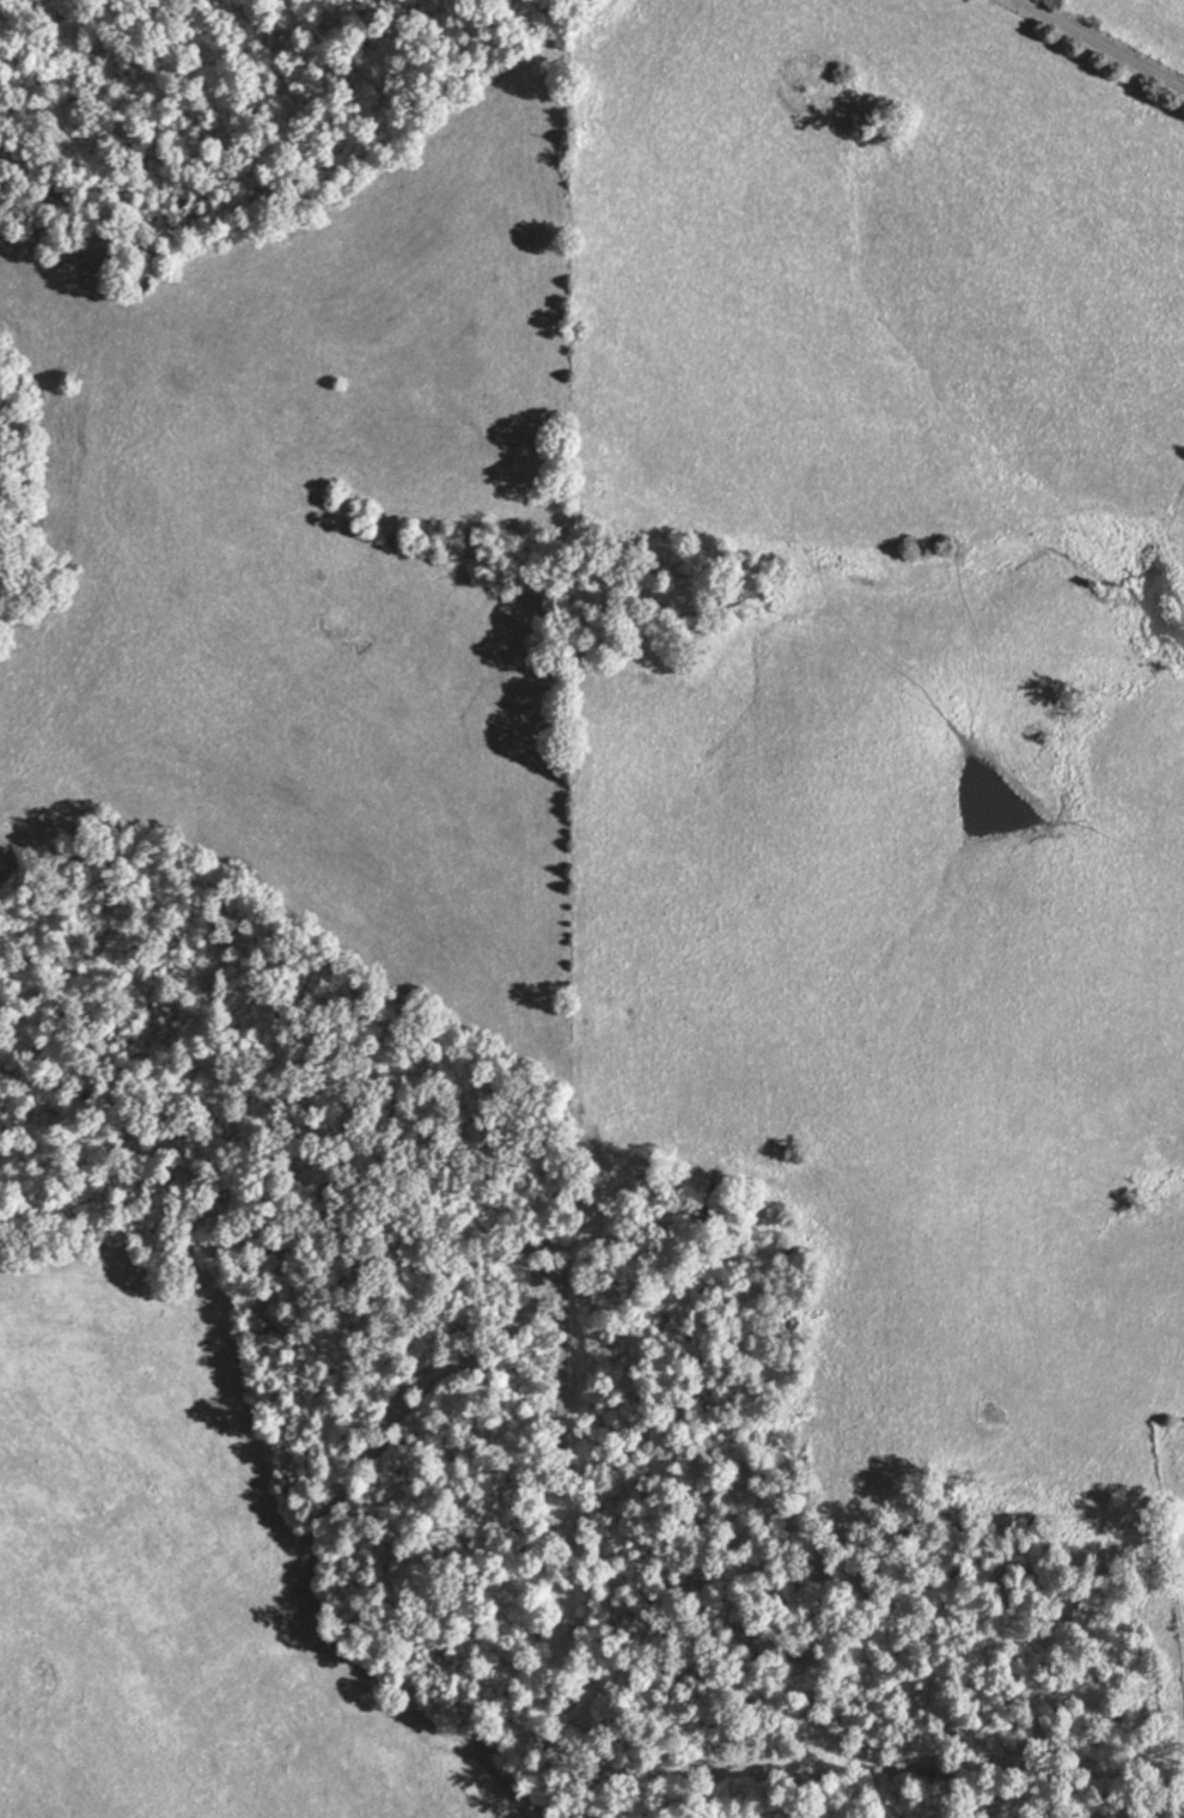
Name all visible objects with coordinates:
road: (1100, 45)

